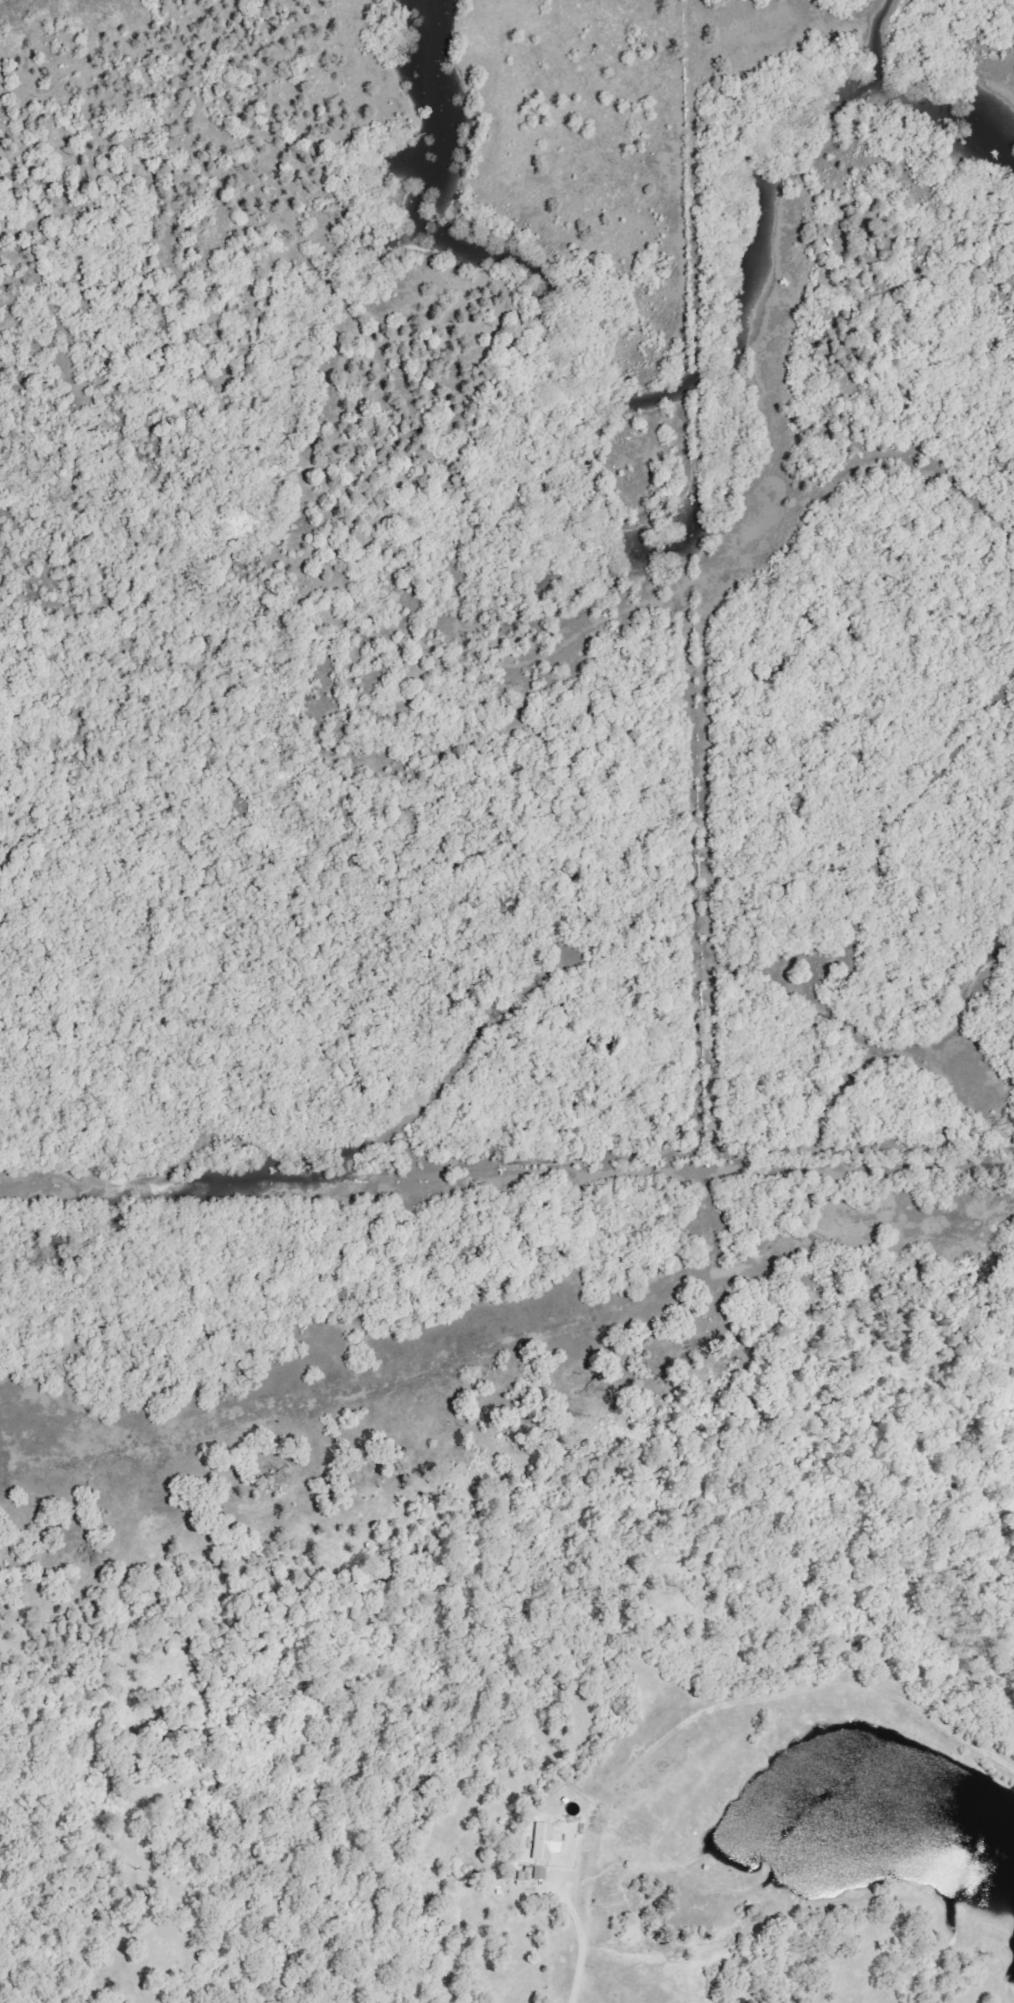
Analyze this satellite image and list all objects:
building: (547, 1843)
building: (541, 1874)
road: (578, 1949)

